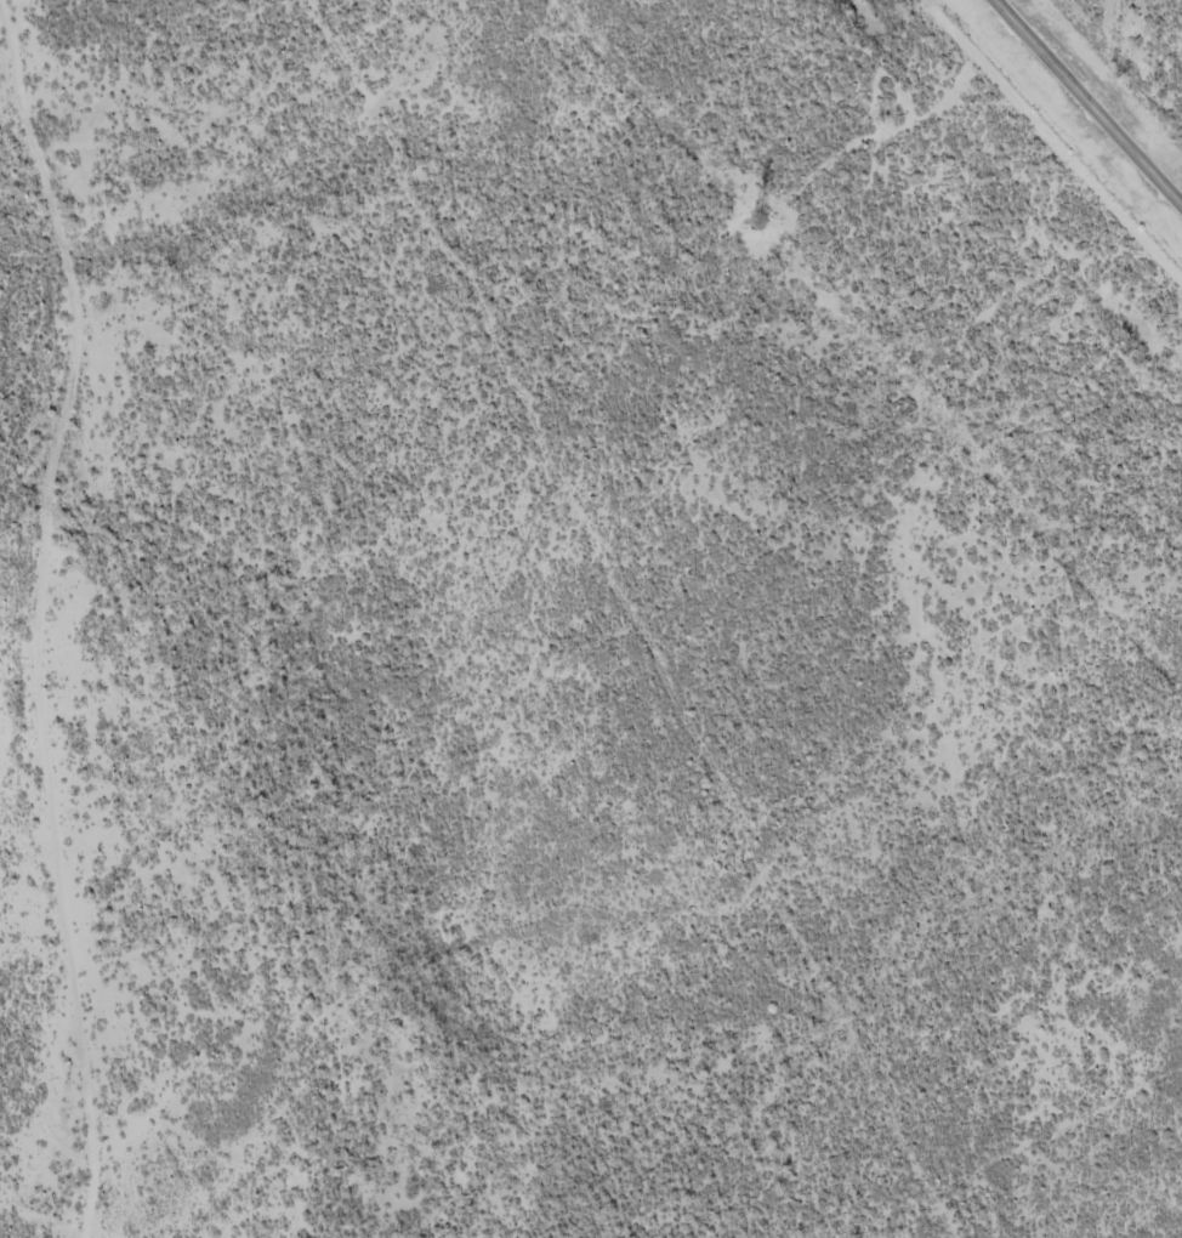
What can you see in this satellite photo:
power tower: (755, 225)

